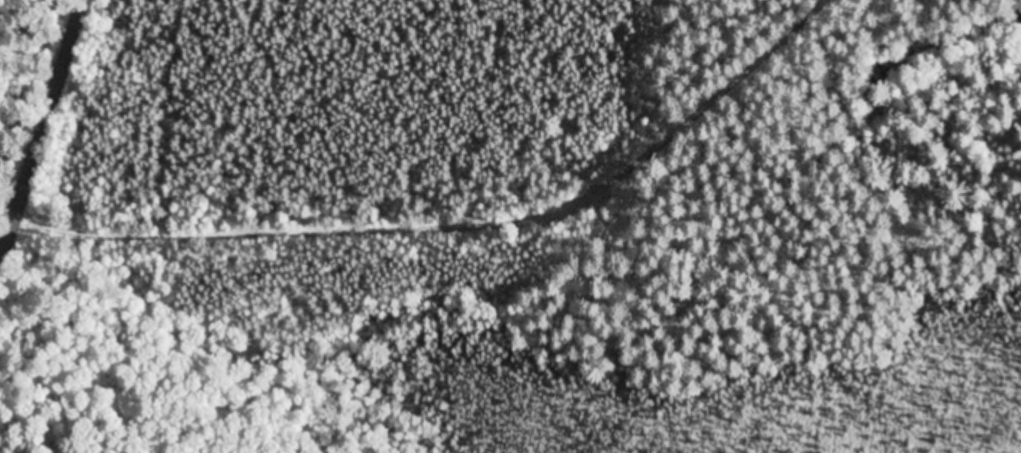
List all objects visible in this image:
road: (43, 137)

